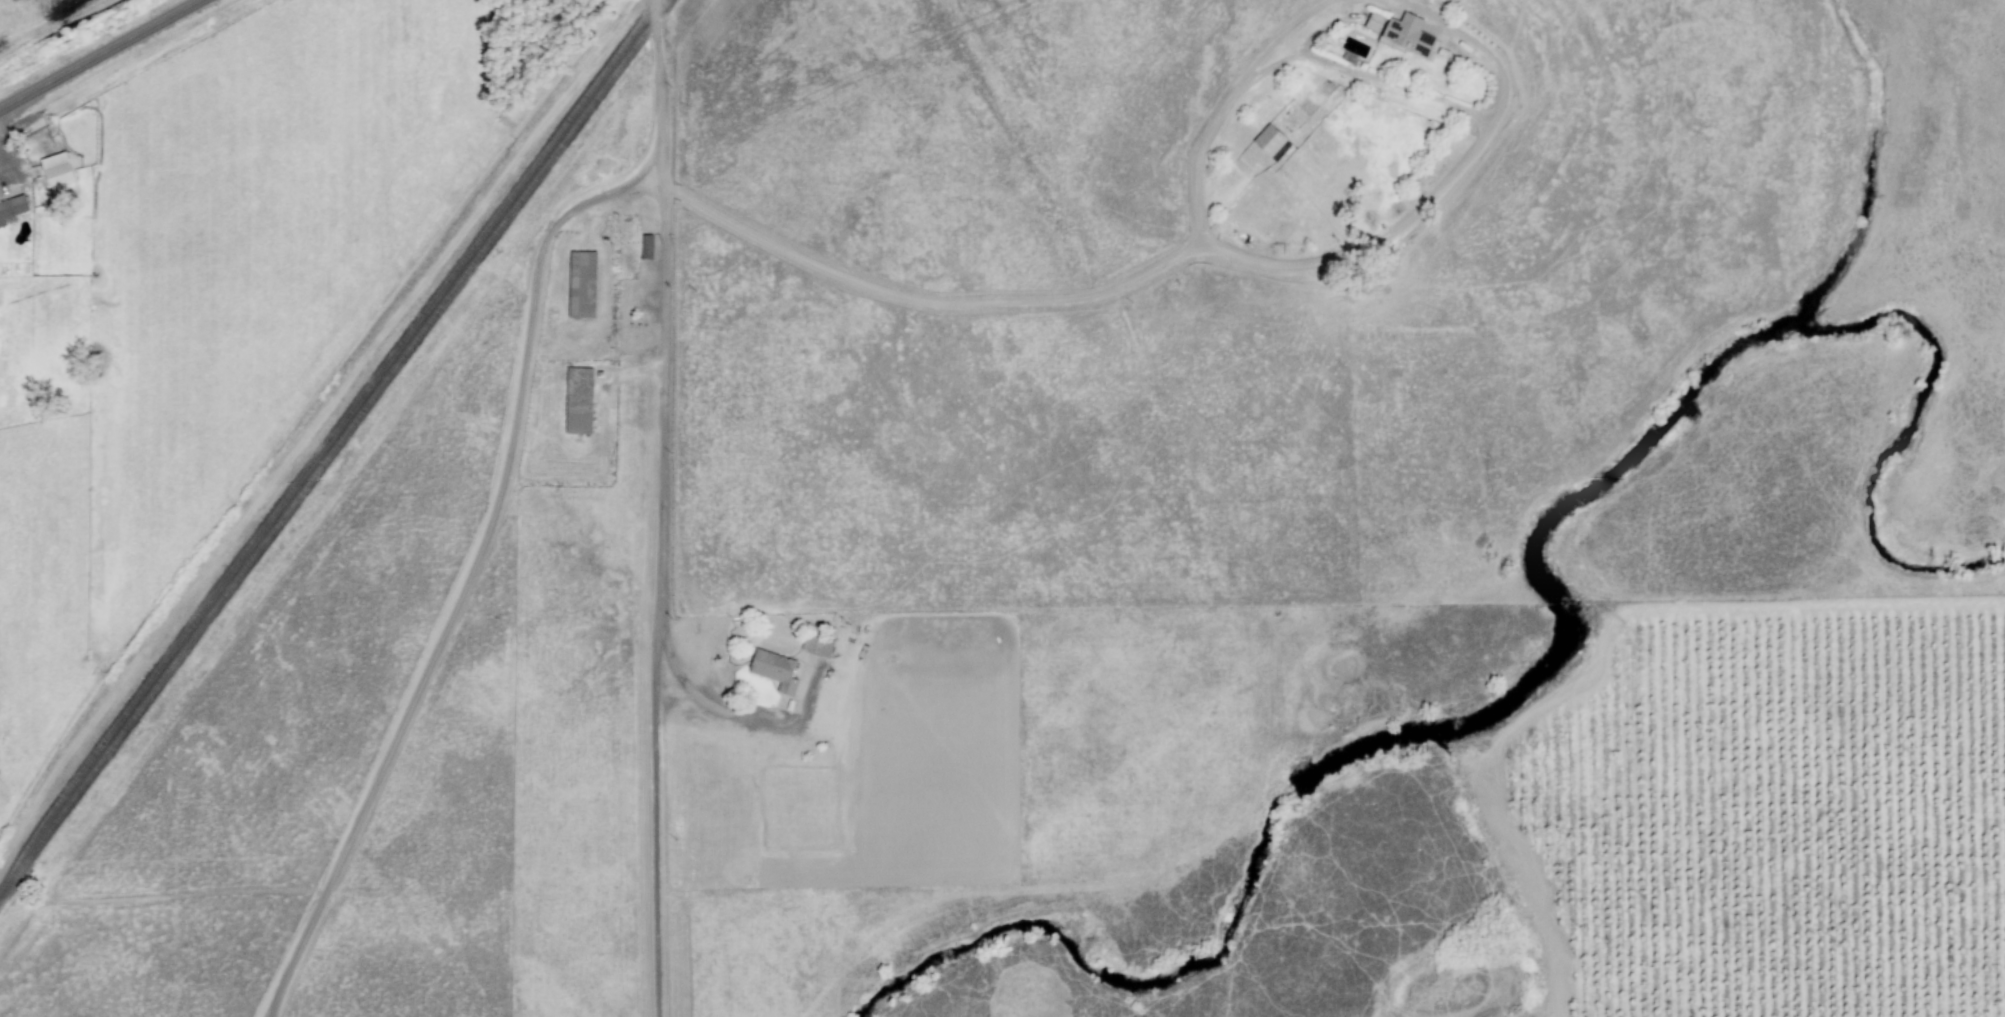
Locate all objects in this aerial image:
building: (1376, 21)
building: (1411, 35)
road: (102, 55)
road: (1360, 79)
road: (1230, 99)
building: (1272, 140)
building: (58, 170)
road: (1444, 181)
building: (13, 209)
road: (538, 279)
building: (584, 284)
road: (668, 335)
building: (581, 400)
railway: (325, 445)
railway: (335, 450)
building: (819, 644)
building: (777, 669)
road: (701, 696)
road: (657, 844)
road: (283, 1007)

